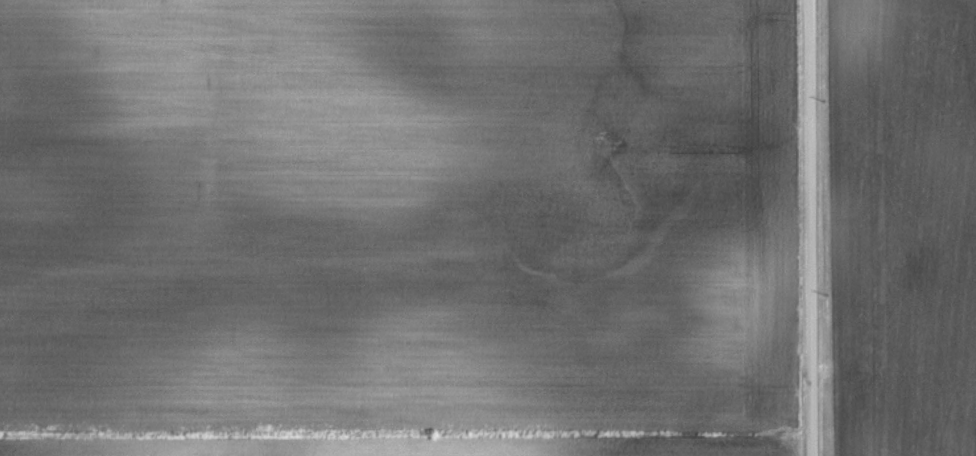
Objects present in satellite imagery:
road: (812, 228)

